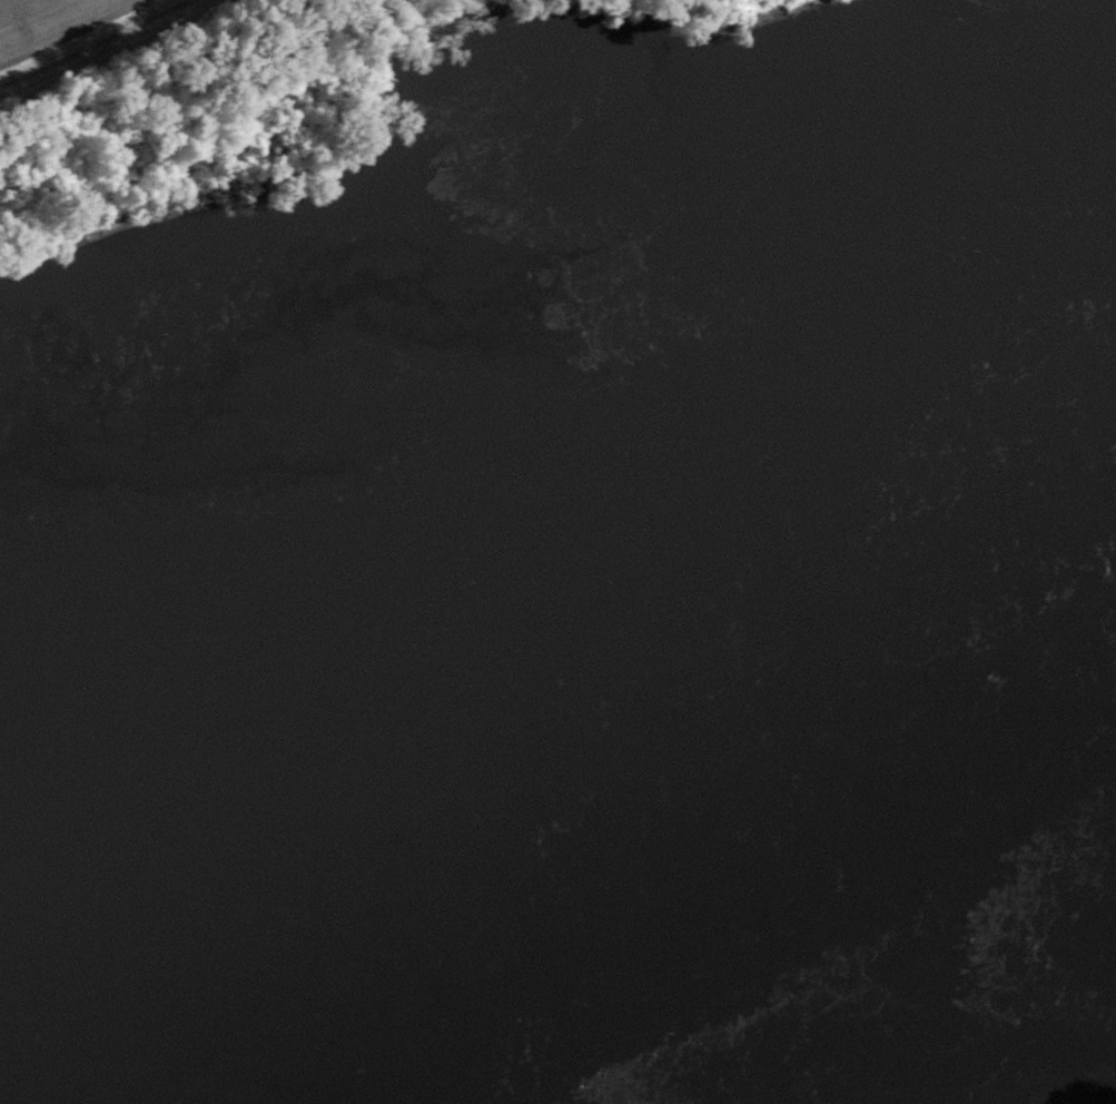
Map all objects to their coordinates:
river: (556, 664)

